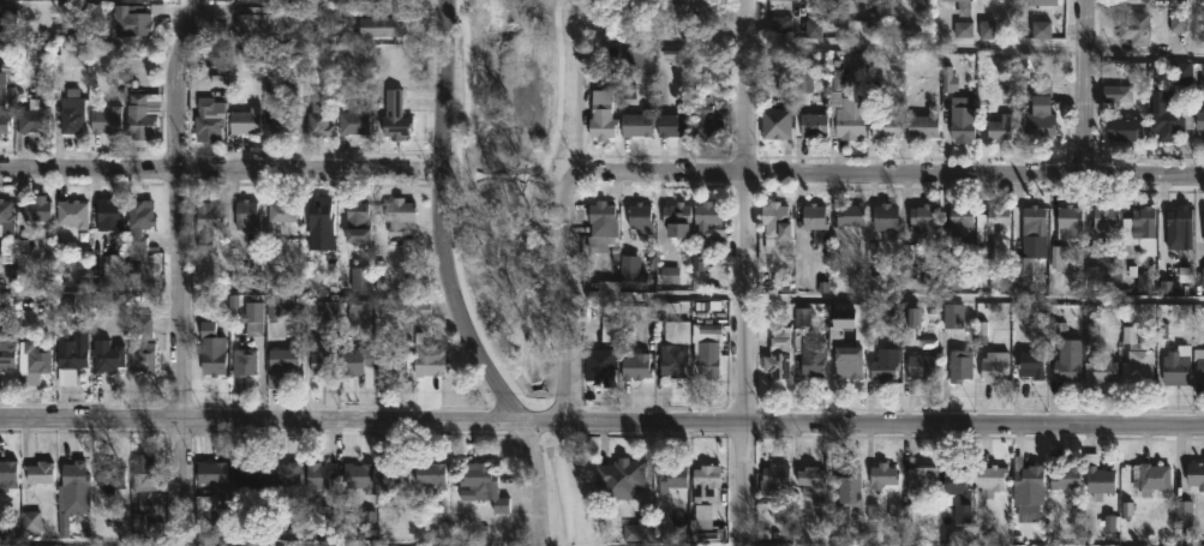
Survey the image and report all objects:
building: (149, 0)
building: (394, 0)
building: (785, 0)
building: (959, 0)
building: (1002, 0)
building: (1042, 1)
building: (870, 4)
parking lot: (684, 7)
building: (134, 19)
building: (7, 20)
building: (254, 20)
building: (381, 25)
building: (1136, 26)
road: (1198, 29)
road: (832, 40)
road: (442, 85)
building: (804, 85)
road: (1086, 88)
building: (1121, 92)
building: (846, 109)
building: (4, 110)
building: (71, 110)
building: (142, 113)
building: (603, 114)
building: (395, 115)
building: (707, 115)
building: (963, 115)
building: (34, 116)
building: (209, 116)
building: (106, 118)
building: (284, 118)
building: (317, 119)
building: (353, 119)
building: (1200, 119)
building: (244, 120)
building: (673, 122)
building: (775, 122)
building: (1170, 122)
building: (636, 124)
building: (811, 124)
building: (887, 124)
building: (926, 124)
building: (1040, 124)
building: (1001, 127)
building: (1125, 127)
park: (531, 157)
road: (220, 170)
road: (465, 173)
road: (889, 173)
road: (501, 178)
road: (535, 182)
road: (546, 199)
building: (36, 209)
building: (282, 210)
road: (455, 210)
building: (5, 212)
building: (71, 212)
building: (109, 212)
building: (851, 214)
building: (246, 215)
building: (400, 215)
building: (886, 216)
building: (924, 217)
building: (1000, 217)
building: (677, 218)
building: (1035, 218)
building: (1181, 218)
building: (641, 220)
building: (357, 221)
building: (709, 221)
building: (815, 221)
building: (1071, 221)
building: (1107, 222)
building: (206, 223)
building: (321, 223)
building: (601, 224)
building: (775, 224)
building: (138, 227)
building: (958, 228)
building: (1138, 232)
building: (1061, 258)
building: (114, 271)
road: (180, 271)
road: (743, 272)
building: (360, 278)
building: (953, 280)
building: (1202, 280)
road: (568, 294)
road: (974, 296)
building: (321, 308)
building: (424, 311)
building: (252, 316)
building: (956, 317)
building: (218, 343)
building: (143, 344)
building: (708, 348)
building: (6, 350)
building: (778, 353)
building: (106, 355)
building: (282, 355)
building: (324, 356)
building: (72, 358)
building: (1137, 358)
building: (244, 359)
road: (489, 359)
building: (813, 359)
building: (847, 359)
building: (1068, 359)
building: (429, 360)
building: (31, 361)
building: (393, 361)
building: (671, 361)
building: (357, 362)
building: (921, 364)
building: (1031, 364)
building: (1199, 364)
building: (601, 365)
building: (635, 365)
building: (962, 365)
building: (994, 365)
building: (1178, 365)
building: (883, 368)
building: (1100, 368)
road: (537, 406)
road: (601, 419)
building: (38, 472)
building: (430, 473)
building: (7, 474)
building: (143, 474)
building: (247, 474)
building: (288, 474)
building: (883, 474)
building: (1028, 474)
building: (108, 475)
building: (319, 475)
building: (359, 475)
building: (672, 475)
building: (923, 475)
building: (210, 476)
building: (394, 476)
building: (1196, 476)
building: (621, 478)
building: (774, 478)
building: (1066, 478)
building: (1098, 478)
building: (1152, 478)
building: (811, 479)
building: (990, 479)
building: (706, 482)
building: (850, 484)
building: (481, 485)
building: (959, 490)
building: (73, 493)
building: (30, 522)
building: (637, 529)
road: (240, 544)
road: (627, 544)

